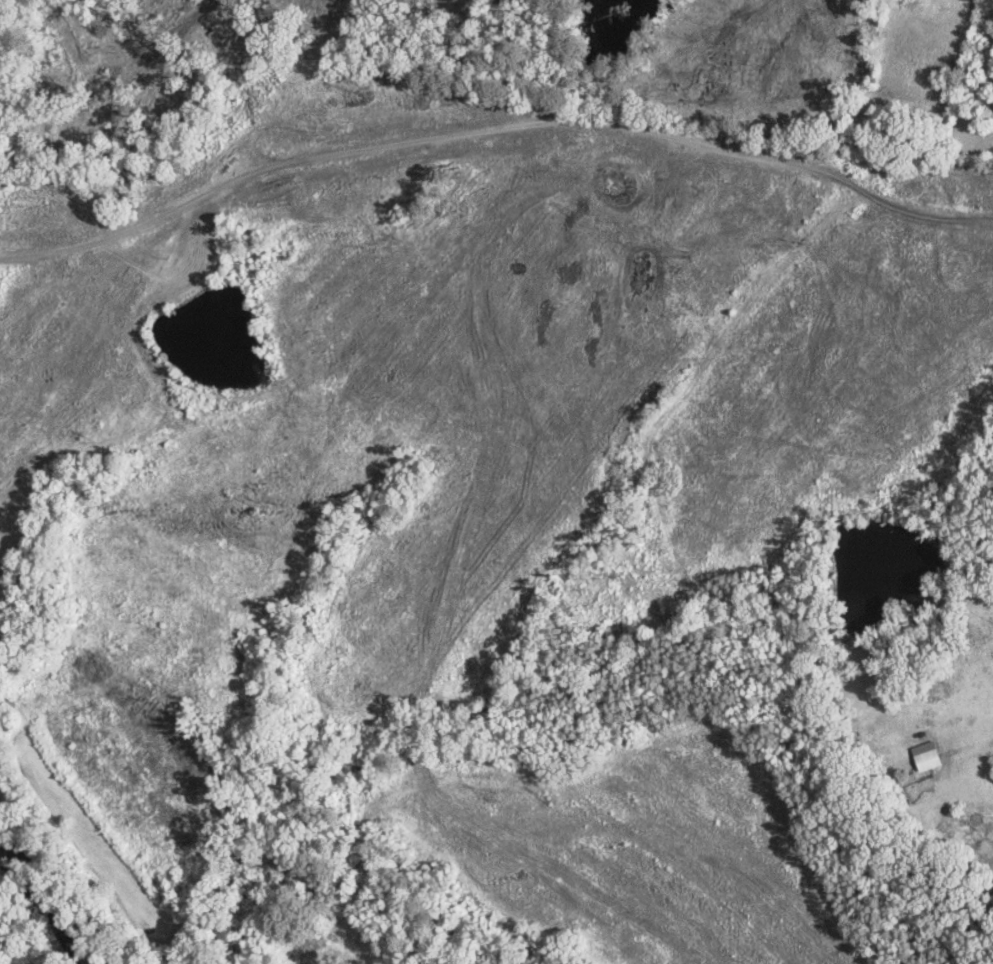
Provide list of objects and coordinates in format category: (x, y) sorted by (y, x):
road: (494, 122)
building: (917, 761)

